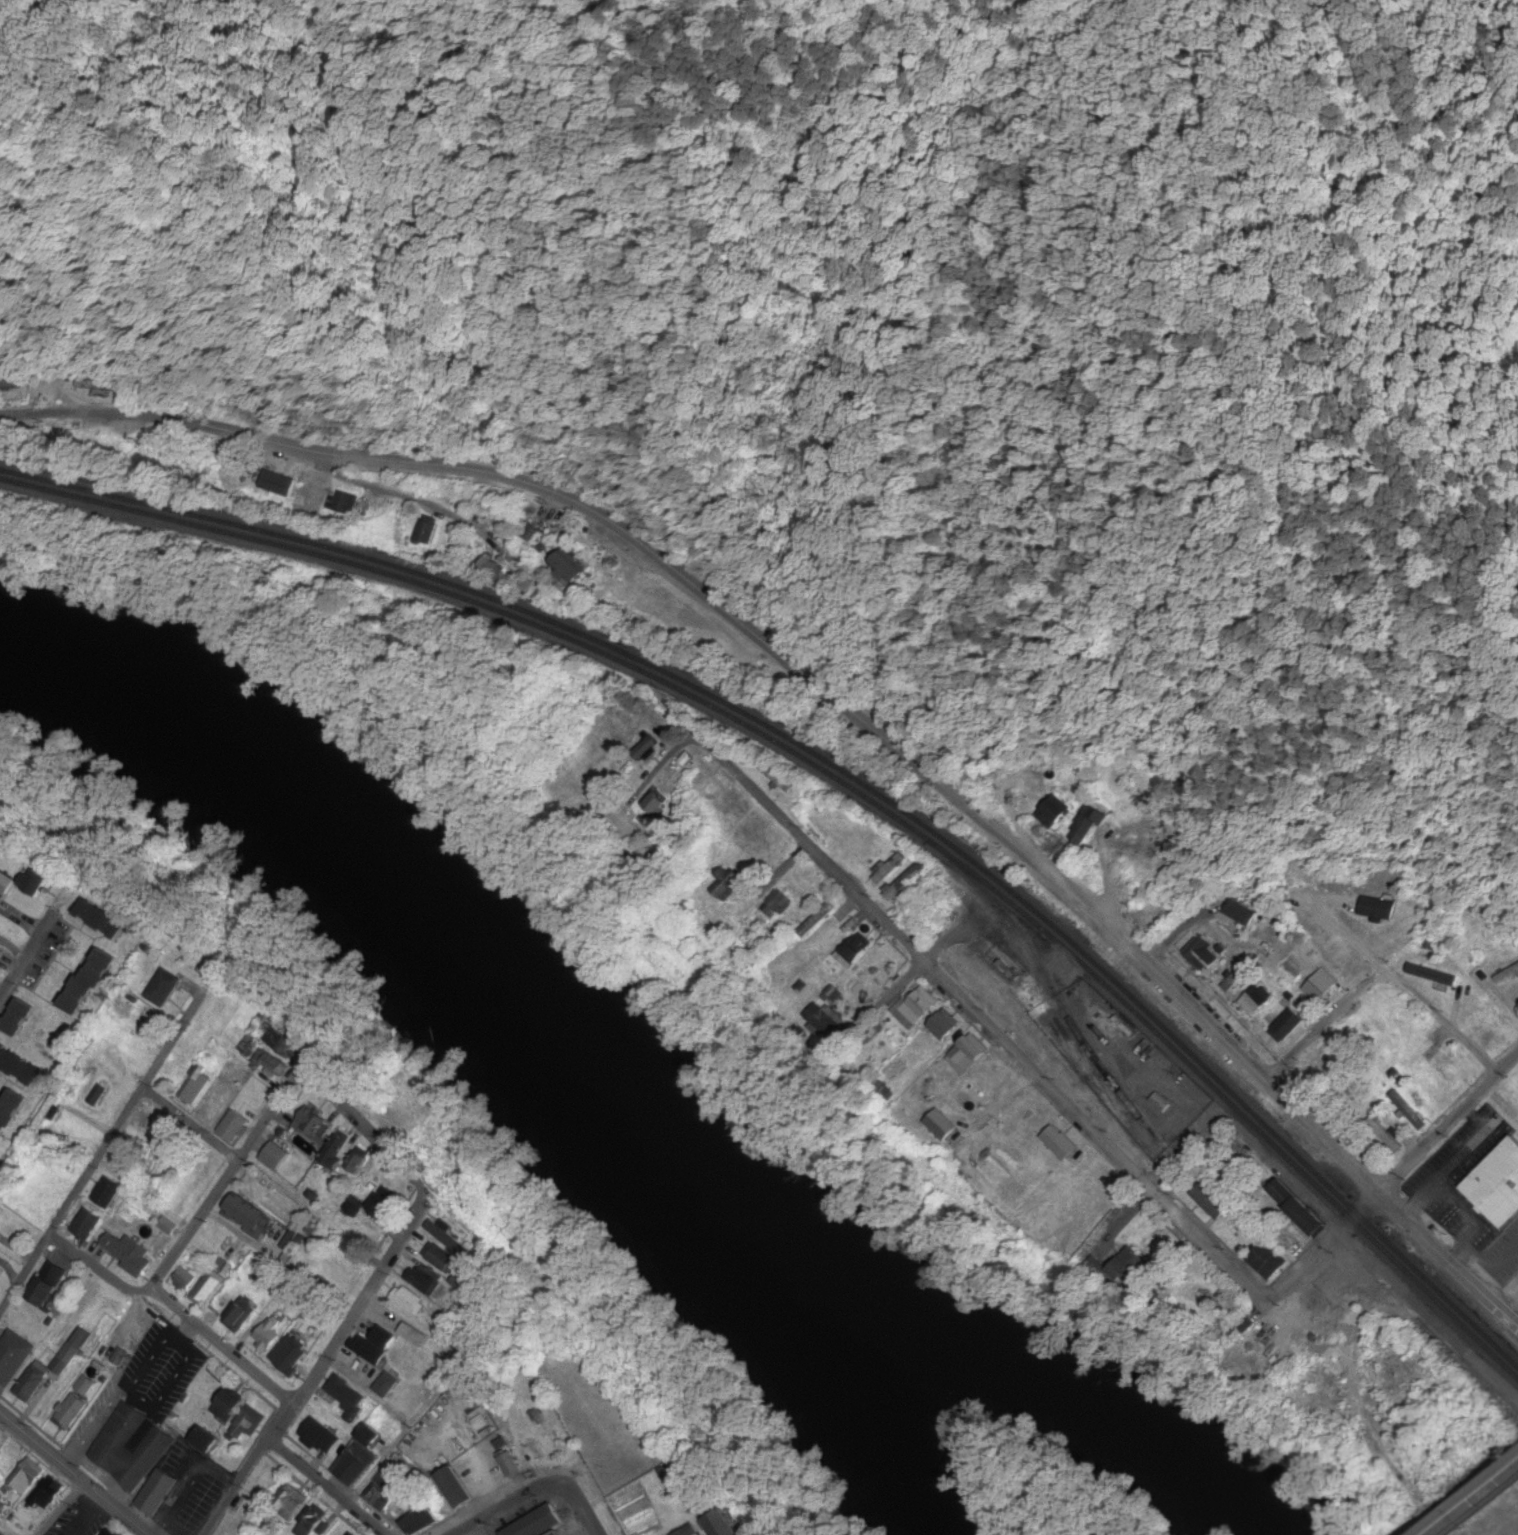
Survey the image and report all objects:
building: (8, 382)
building: (98, 385)
road: (150, 415)
road: (384, 485)
building: (345, 505)
building: (427, 531)
building: (534, 531)
building: (493, 567)
building: (615, 568)
building: (568, 572)
building: (647, 739)
railway: (844, 770)
building: (776, 777)
railway: (844, 781)
road: (963, 786)
building: (1054, 816)
building: (1089, 824)
road: (777, 878)
building: (40, 880)
building: (904, 882)
building: (729, 883)
building: (5, 886)
building: (779, 904)
building: (1381, 908)
building: (105, 919)
building: (1239, 919)
building: (817, 920)
river: (462, 932)
building: (750, 936)
road: (6, 946)
building: (854, 952)
building: (1202, 953)
road: (27, 954)
road: (19, 955)
building: (1507, 975)
building: (1436, 976)
building: (89, 985)
building: (1321, 986)
building: (164, 988)
railway: (1057, 997)
building: (121, 1006)
building: (917, 1009)
road: (986, 1012)
road: (1438, 1018)
building: (21, 1019)
building: (152, 1021)
road: (1321, 1021)
building: (1288, 1024)
building: (945, 1026)
building: (284, 1044)
building: (220, 1057)
building: (966, 1057)
building: (271, 1062)
building: (1443, 1063)
building: (21, 1066)
building: (240, 1073)
building: (196, 1084)
building: (885, 1092)
building: (98, 1095)
building: (211, 1108)
building: (1407, 1110)
building: (11, 1113)
road: (1448, 1121)
building: (151, 1124)
road: (191, 1125)
building: (944, 1125)
building: (314, 1126)
building: (235, 1127)
building: (1049, 1130)
road: (375, 1136)
road: (1186, 1146)
building: (339, 1153)
building: (277, 1157)
building: (359, 1162)
road: (94, 1165)
road: (228, 1175)
building: (1497, 1184)
building: (1106, 1192)
building: (108, 1194)
building: (1212, 1200)
road: (1369, 1206)
building: (1, 1208)
building: (380, 1210)
building: (250, 1217)
building: (1299, 1219)
building: (88, 1224)
building: (127, 1252)
road: (1314, 1256)
road: (1368, 1256)
building: (442, 1260)
building: (1268, 1260)
road: (95, 1268)
building: (1133, 1269)
building: (425, 1278)
building: (184, 1280)
building: (48, 1286)
building: (207, 1288)
building: (408, 1300)
road: (361, 1302)
building: (1318, 1303)
building: (239, 1316)
building: (415, 1335)
building: (269, 1336)
building: (388, 1338)
road: (220, 1346)
building: (289, 1356)
building: (14, 1357)
building: (66, 1360)
road: (404, 1368)
building: (89, 1381)
building: (33, 1383)
building: (387, 1385)
building: (348, 1396)
building: (414, 1397)
building: (230, 1407)
river: (1071, 1408)
building: (71, 1411)
road: (279, 1422)
river: (878, 1435)
building: (373, 1438)
building: (1, 1439)
road: (426, 1441)
building: (209, 1442)
building: (550, 1446)
building: (132, 1447)
building: (8, 1460)
building: (356, 1465)
building: (511, 1465)
road: (1498, 1470)
road: (72, 1474)
building: (672, 1474)
building: (25, 1478)
building: (384, 1479)
road: (327, 1485)
road: (236, 1486)
road: (546, 1487)
building: (457, 1488)
building: (158, 1493)
building: (46, 1494)
building: (379, 1500)
building: (291, 1503)
road: (579, 1503)
road: (63, 1510)
road: (1449, 1510)
building: (538, 1522)
building: (319, 1524)
building: (111, 1532)
building: (556, 1532)
building: (1, 1534)
building: (357, 1534)

